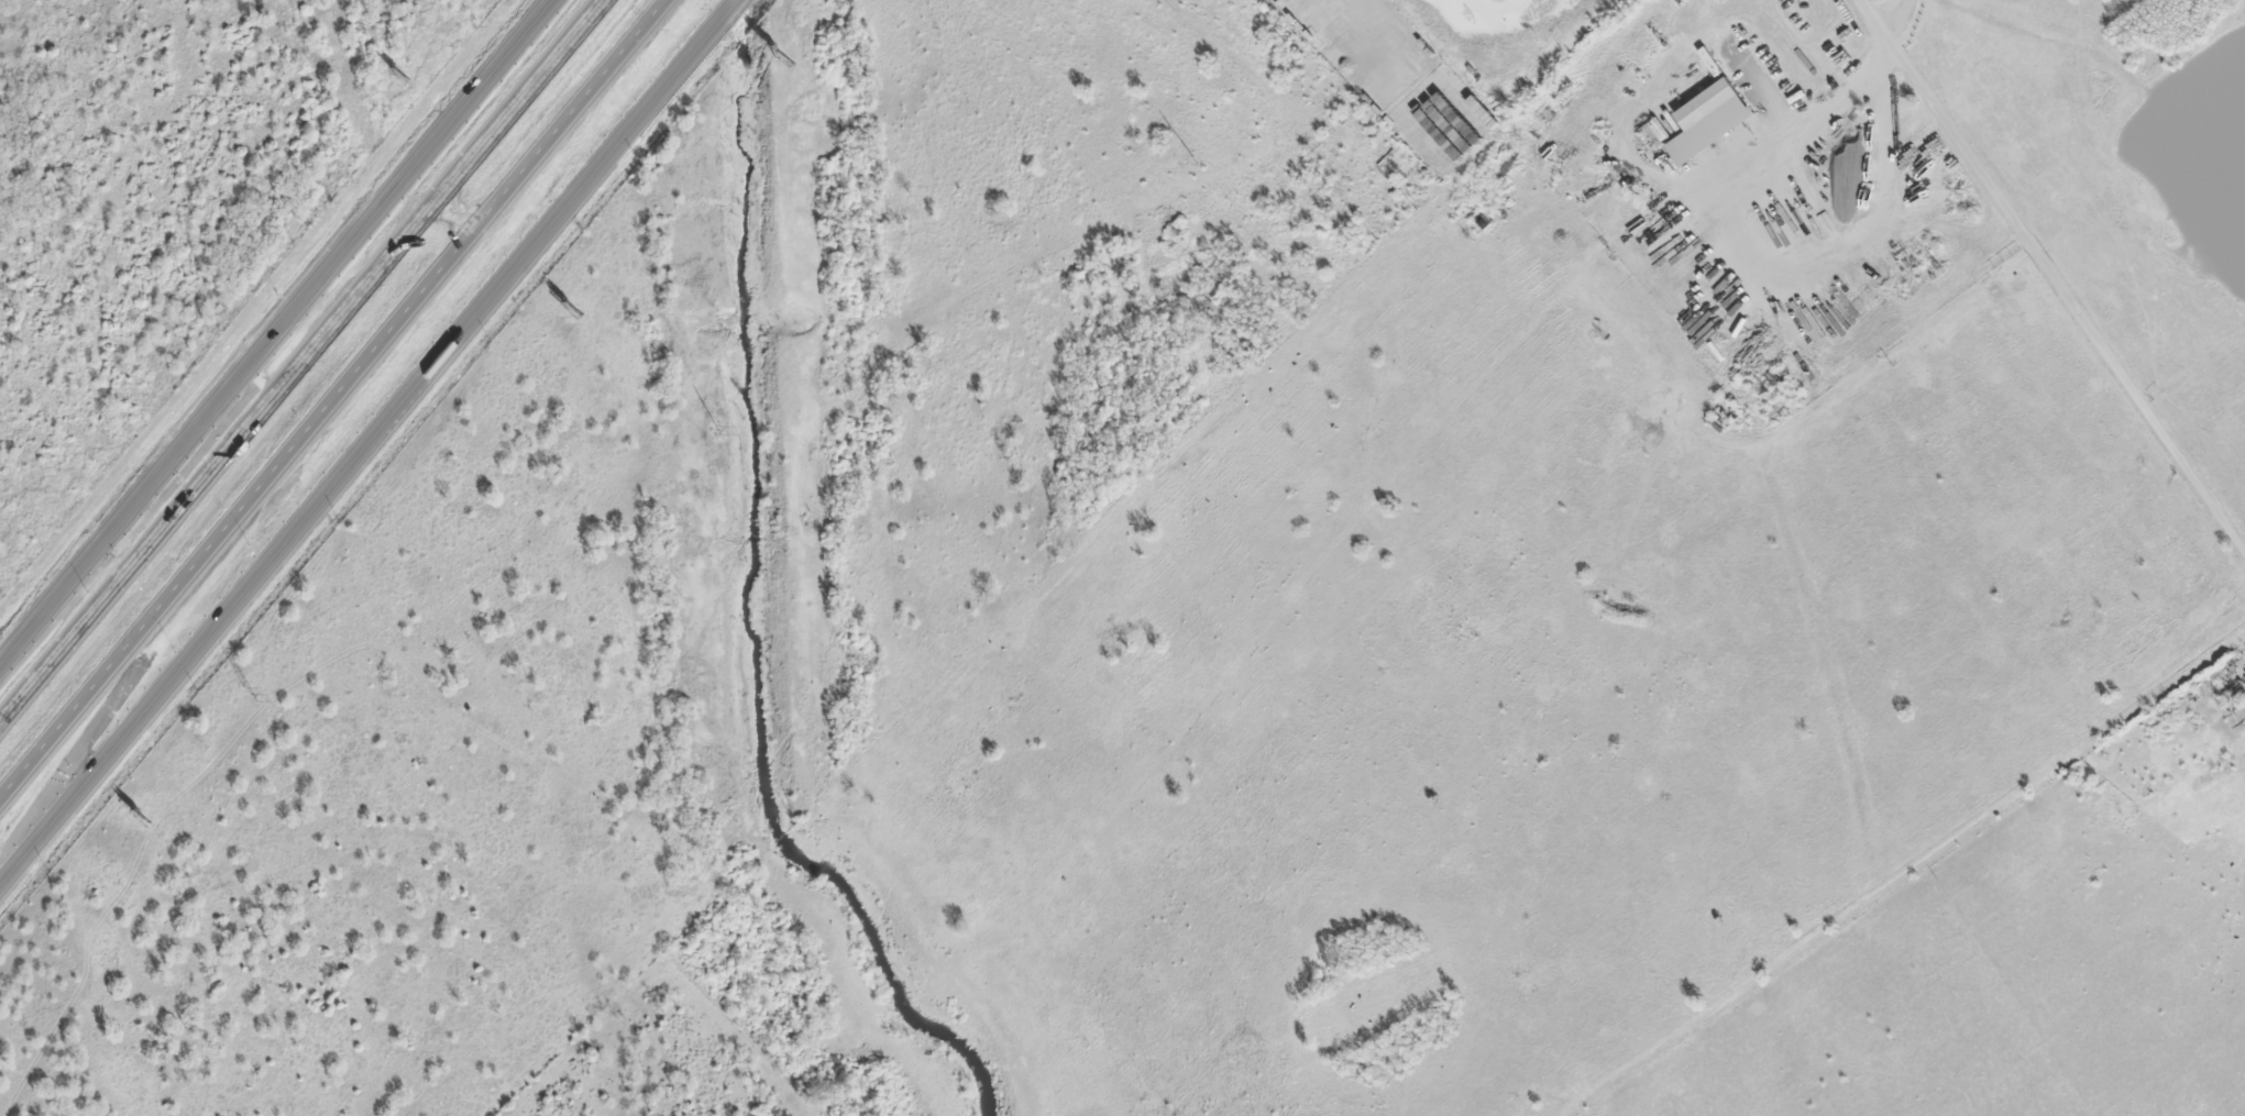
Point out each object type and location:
road: (1899, 14)
road: (730, 19)
building: (1710, 121)
power tower: (1193, 162)
road: (2057, 268)
road: (277, 333)
road: (310, 365)
road: (275, 373)
road: (330, 404)
power tower: (716, 429)
road: (357, 465)
road: (155, 648)
power tower: (251, 694)

